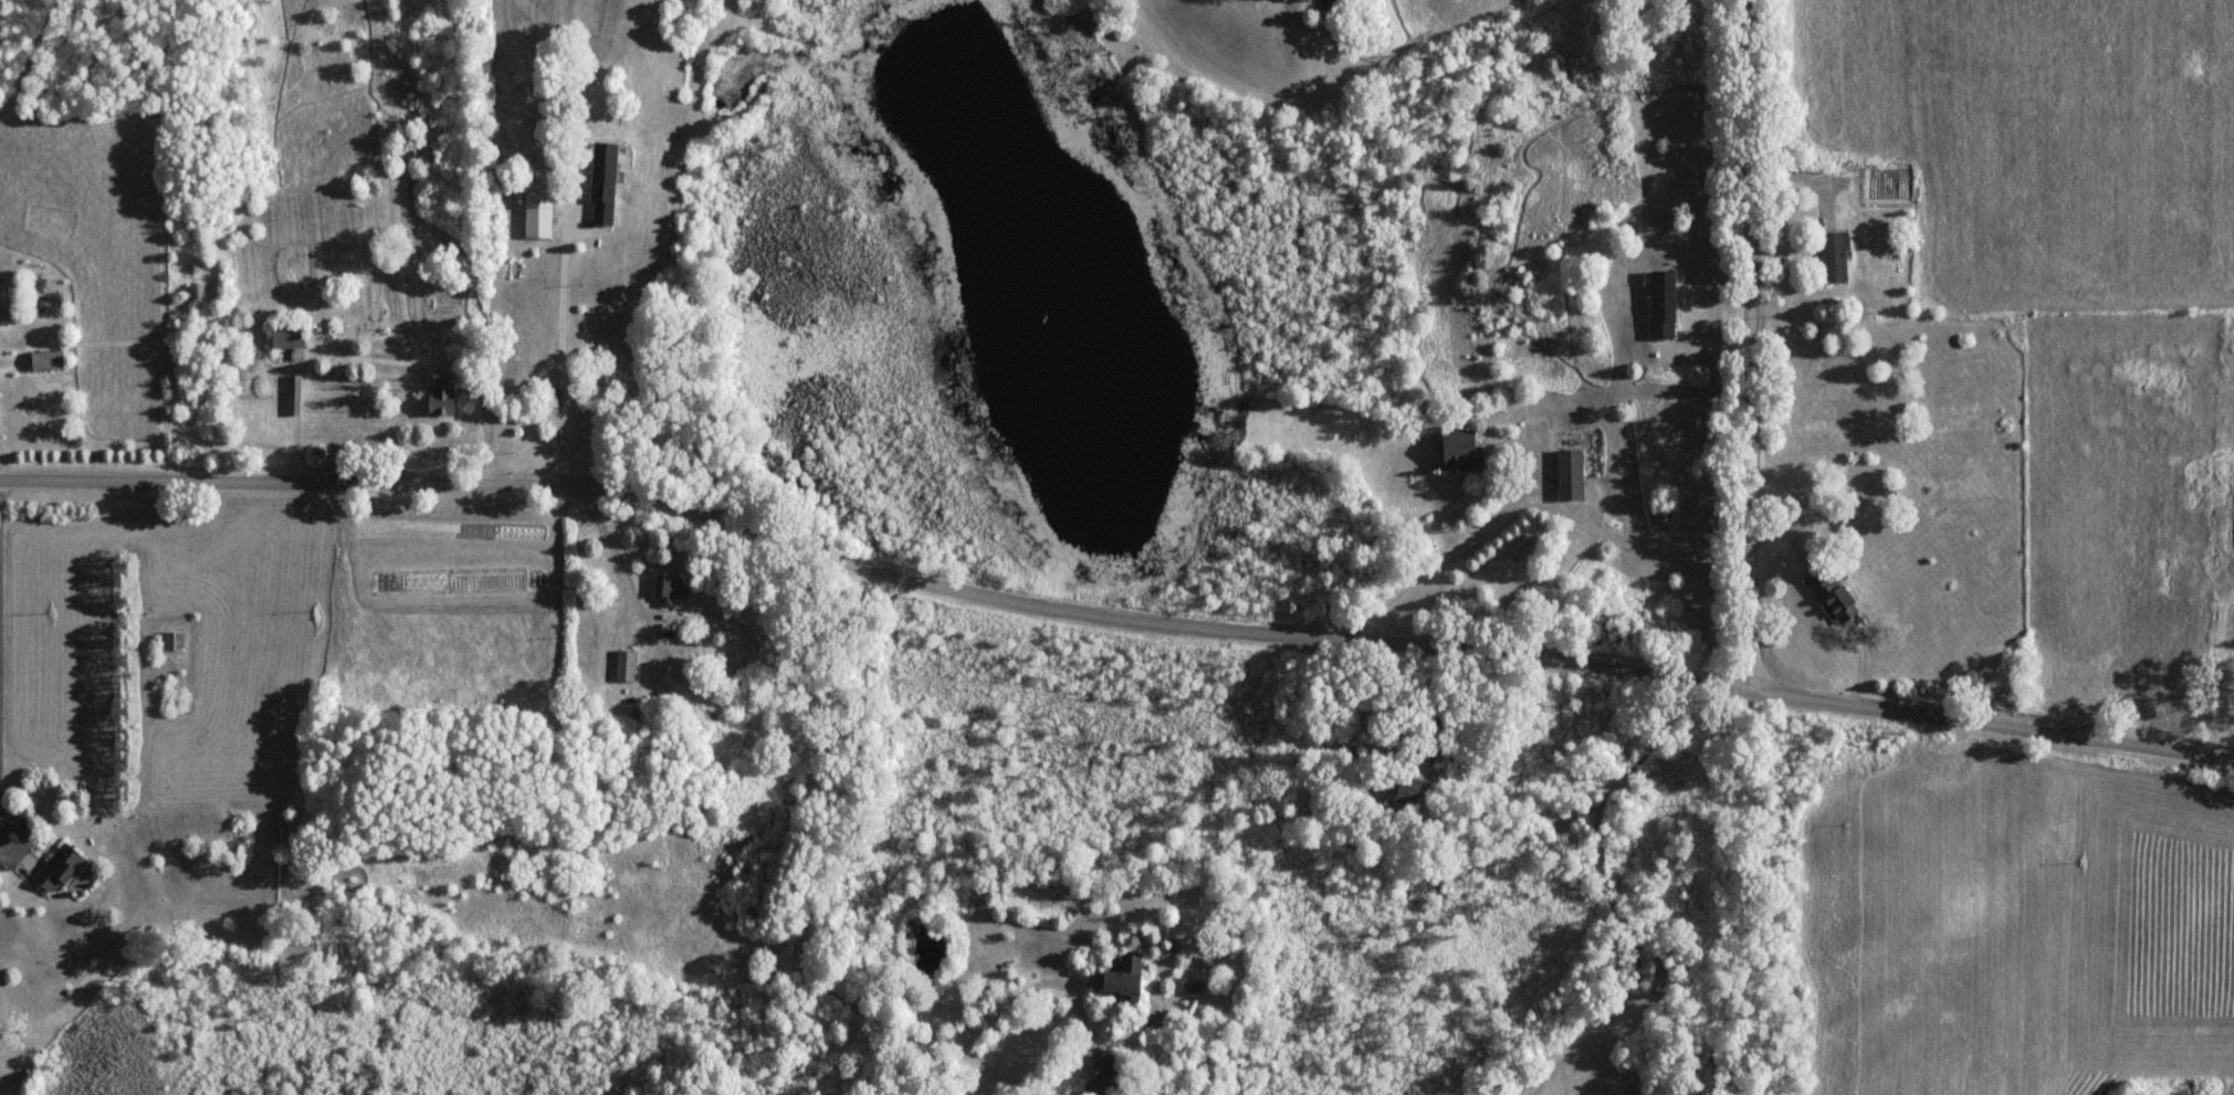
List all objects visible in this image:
building: (599, 185)
building: (535, 217)
building: (1836, 257)
building: (1659, 304)
building: (287, 335)
road: (1749, 345)
road: (562, 351)
building: (41, 361)
building: (443, 398)
building: (544, 398)
building: (1461, 450)
building: (1572, 475)
building: (661, 592)
building: (1826, 596)
road: (1113, 618)
building: (175, 641)
building: (619, 666)
building: (1404, 791)
road: (20, 834)
building: (64, 867)
building: (1131, 977)
building: (1102, 1075)

